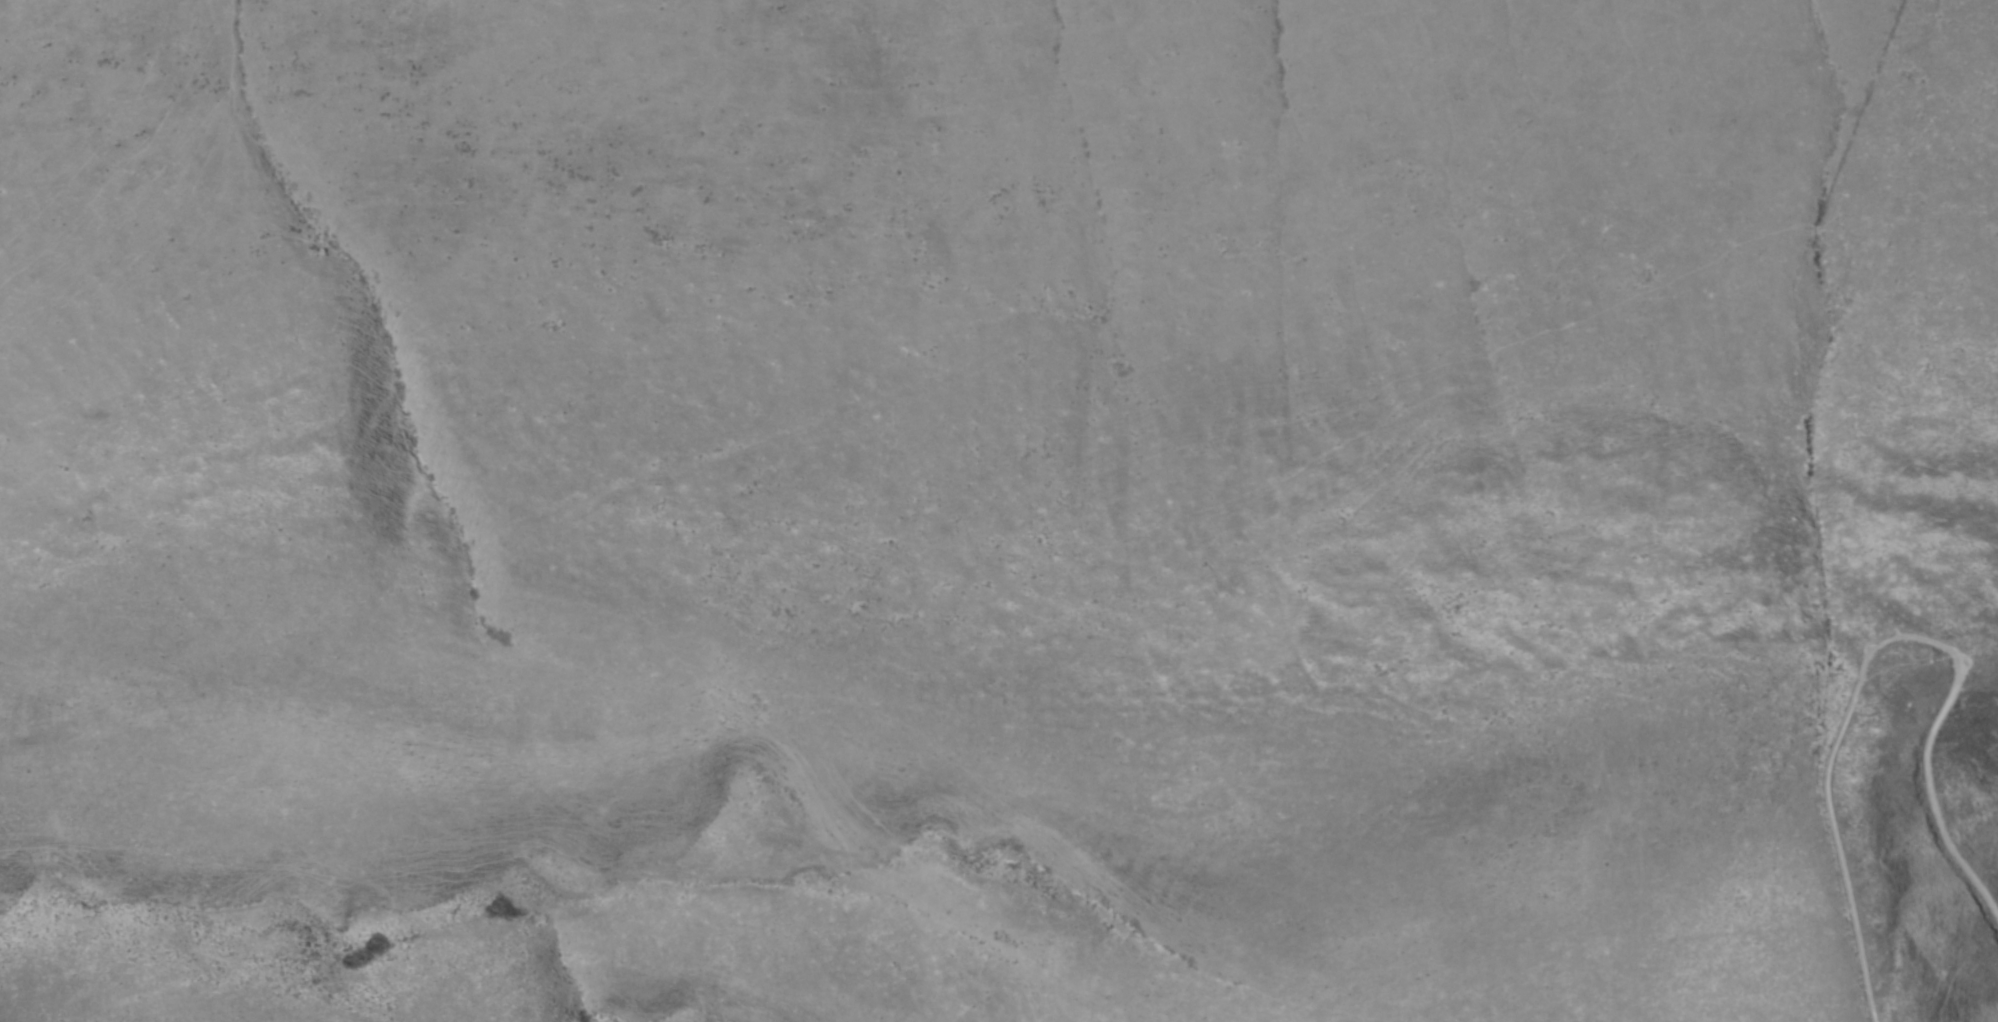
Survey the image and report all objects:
road: (1942, 717)
road: (1848, 861)

